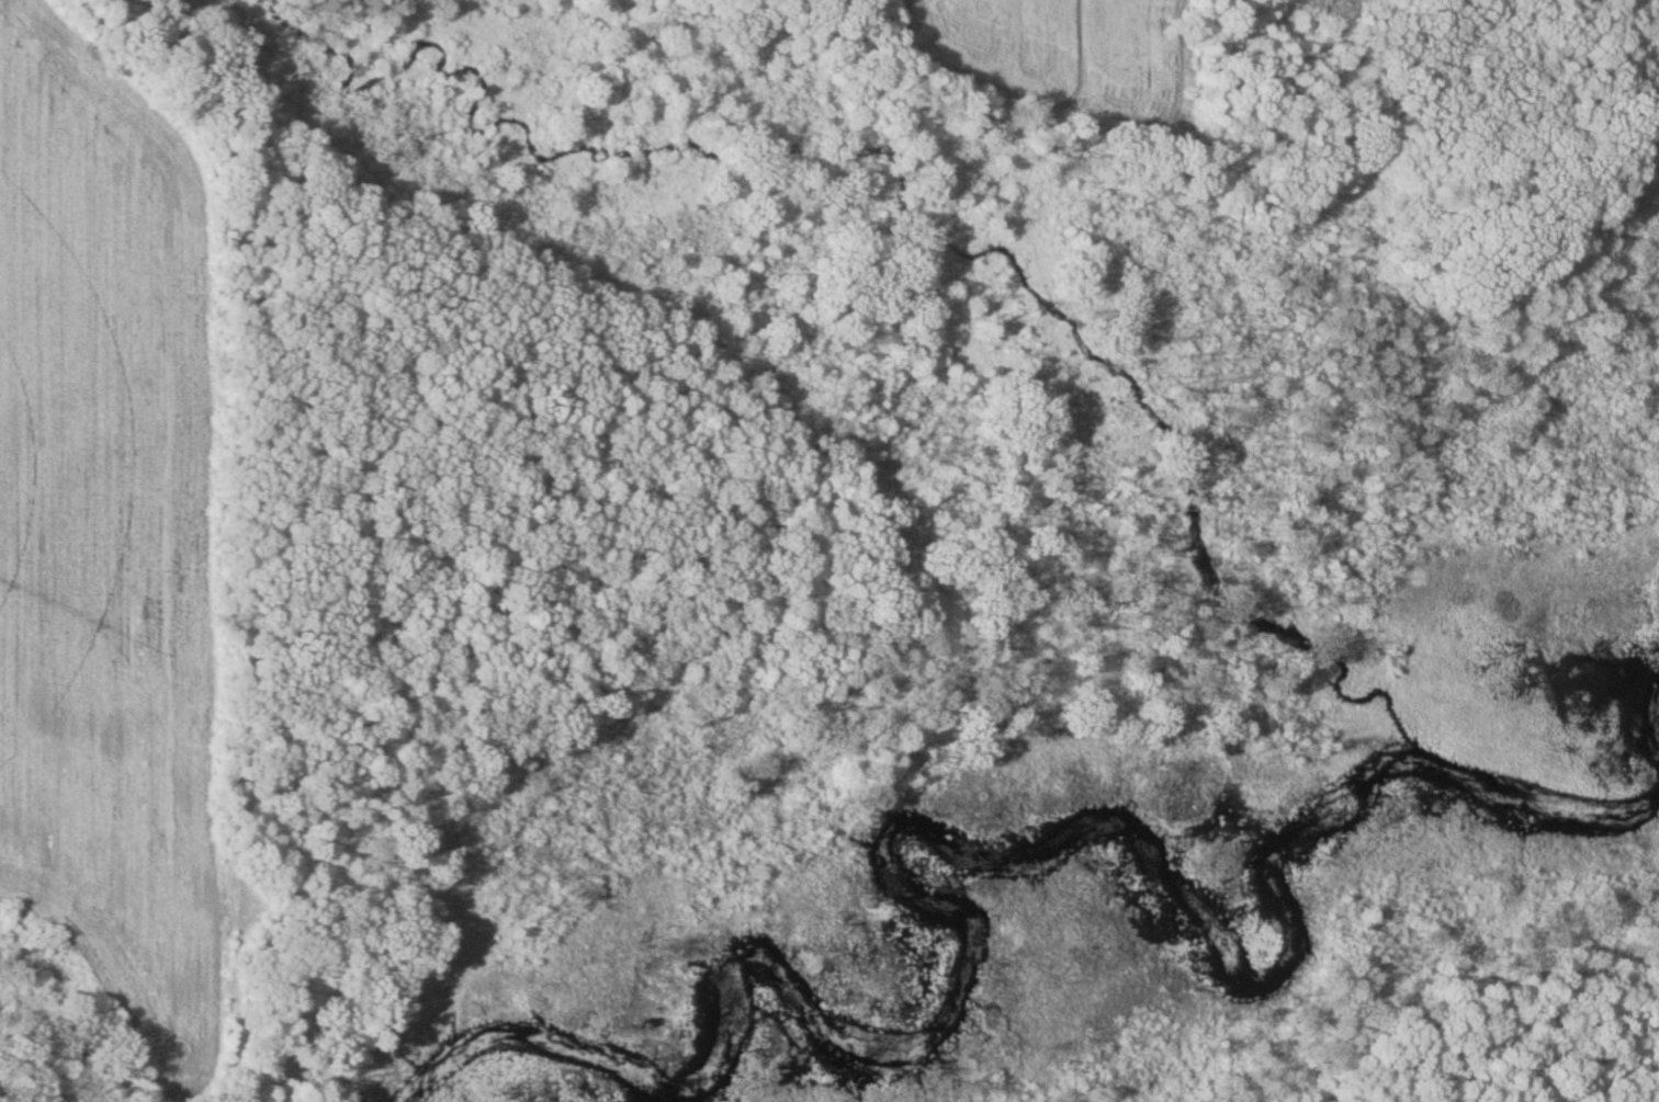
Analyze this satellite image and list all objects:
river: (906, 817)
building: (291, 1003)

